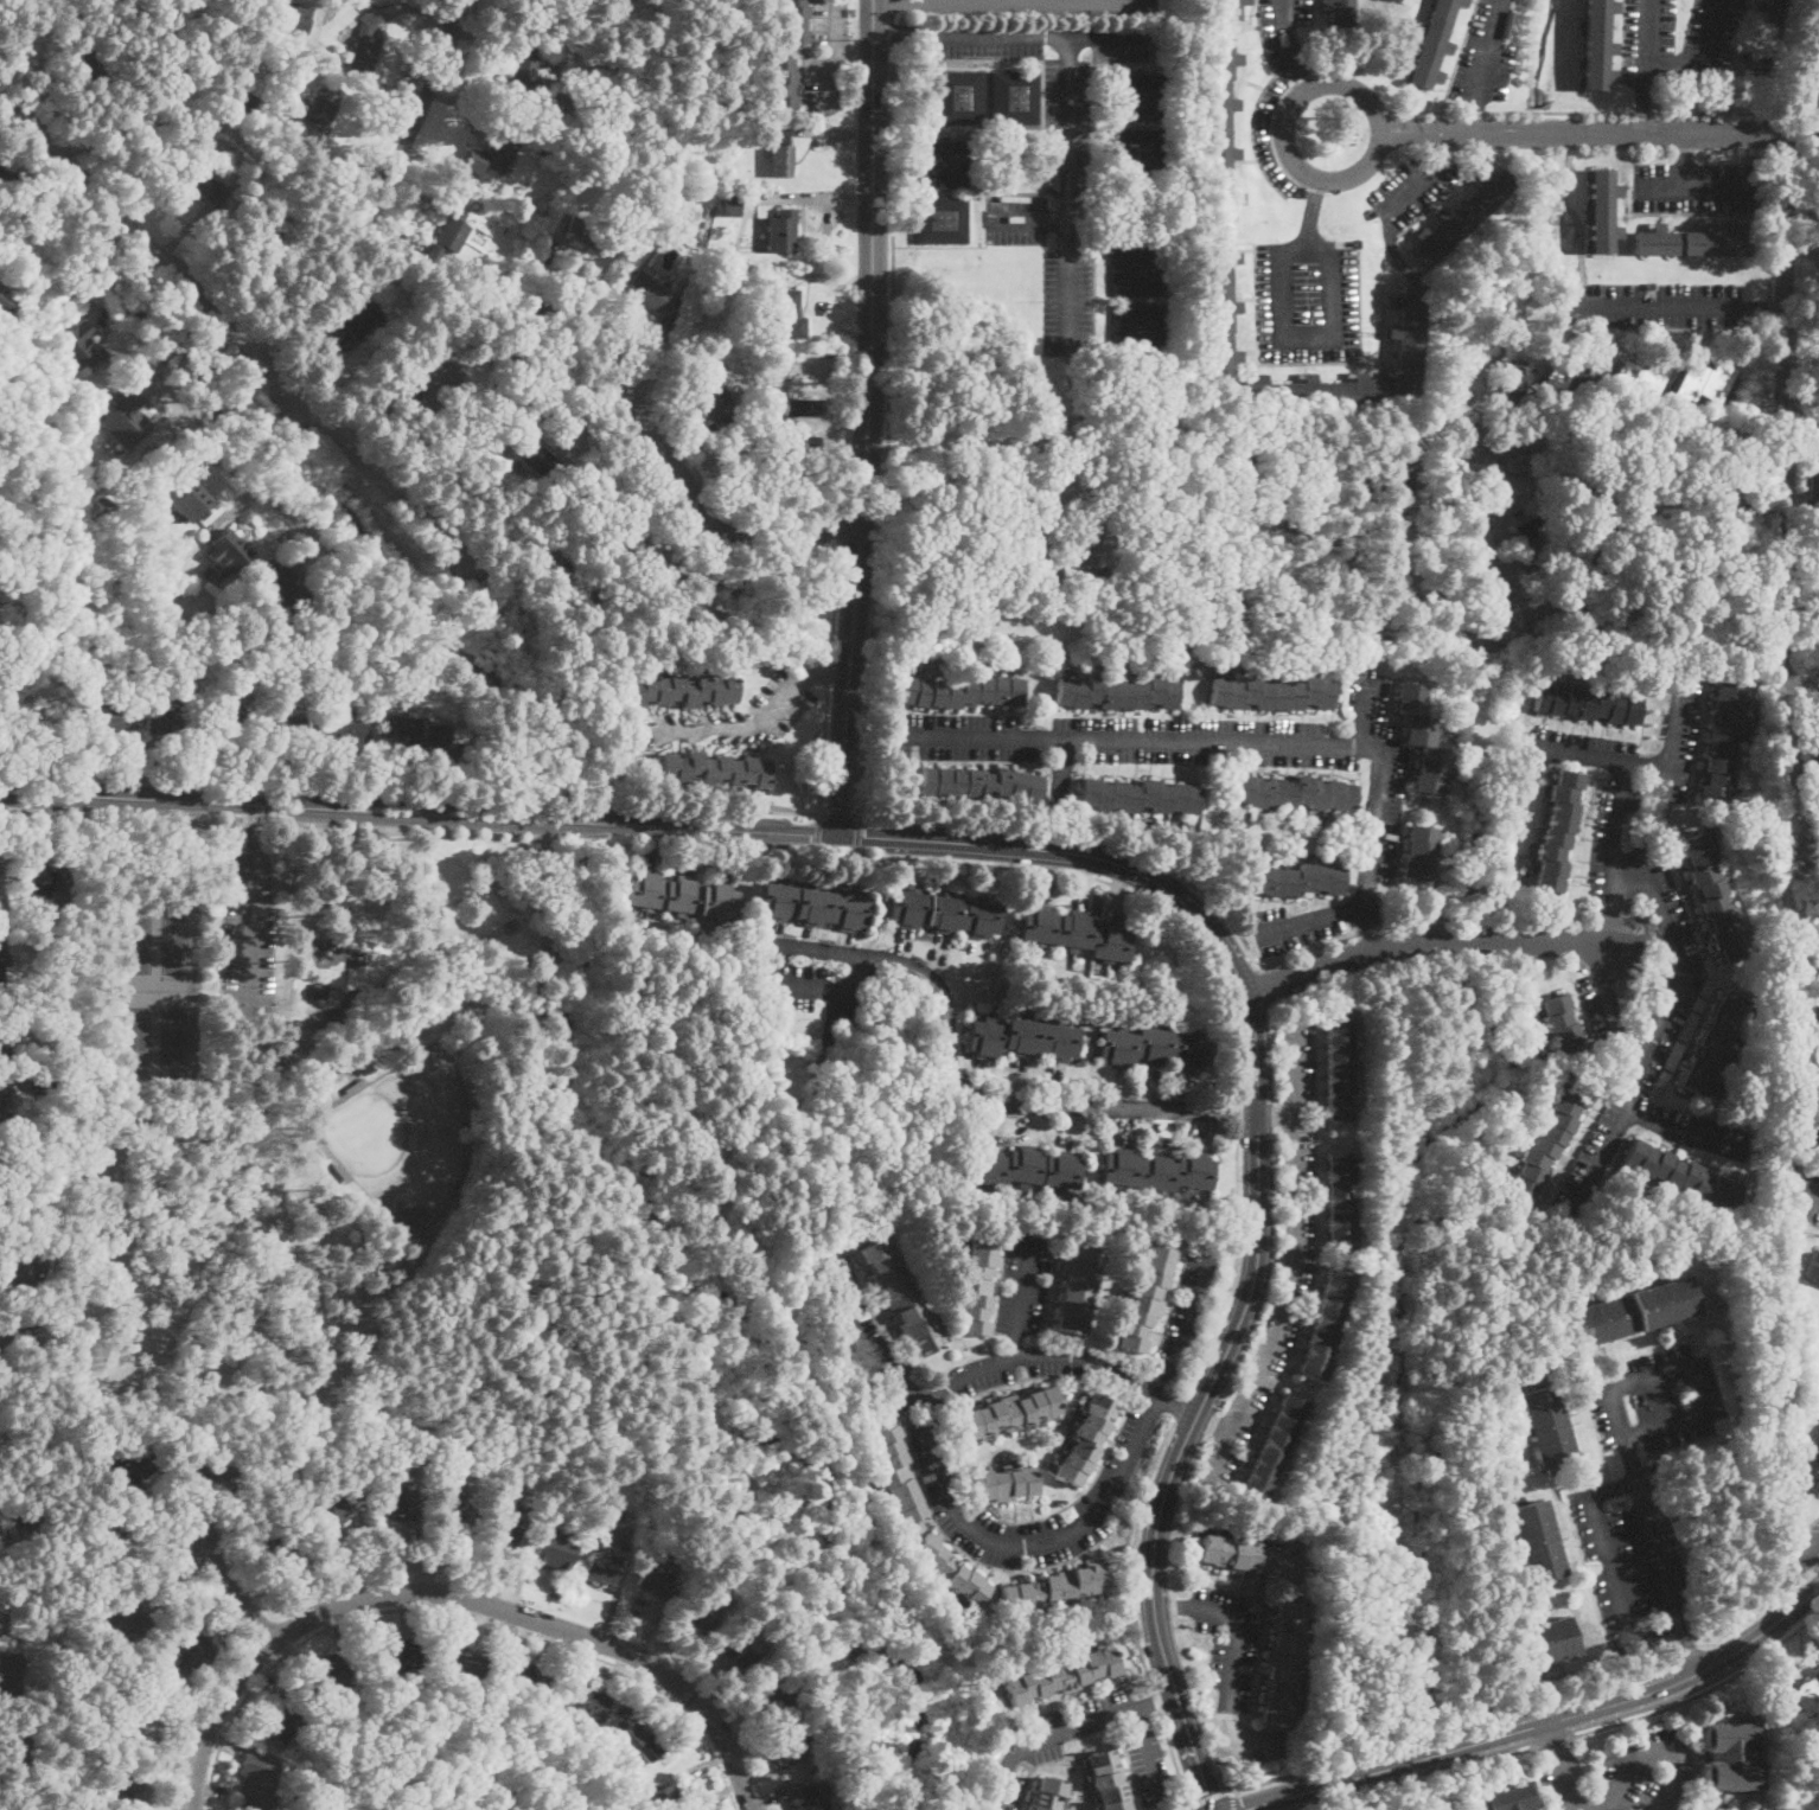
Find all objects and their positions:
road: (895, 0)
road: (1035, 0)
road: (4, 5)
building: (1392, 5)
parking lot: (1036, 6)
road: (893, 7)
building: (1230, 8)
building: (1338, 12)
building: (298, 17)
building: (794, 20)
building: (1507, 23)
parking lot: (1713, 25)
road: (1289, 31)
road: (905, 33)
road: (1649, 33)
road: (1041, 34)
parking lot: (1284, 34)
building: (1768, 39)
building: (1434, 43)
building: (365, 44)
building: (1597, 44)
parking lot: (1485, 55)
road: (1700, 56)
road: (1482, 64)
building: (85, 66)
building: (528, 68)
parking lot: (1055, 70)
road: (1307, 75)
road: (1647, 78)
building: (781, 83)
building: (1812, 92)
building: (1138, 96)
building: (960, 97)
building: (1015, 97)
building: (247, 102)
building: (323, 107)
building: (168, 108)
building: (543, 108)
road: (1646, 111)
road: (1571, 113)
building: (1219, 128)
road: (1598, 133)
parking lot: (1271, 137)
road: (1449, 147)
building: (504, 148)
building: (544, 151)
building: (781, 152)
building: (1138, 152)
building: (200, 153)
road: (324, 155)
road: (1685, 159)
building: (942, 164)
road: (1360, 167)
building: (570, 172)
road: (1694, 183)
building: (202, 184)
parking lot: (1413, 188)
parking lot: (1698, 188)
road: (377, 190)
road: (1070, 193)
building: (1818, 203)
building: (732, 204)
road: (1398, 204)
building: (1121, 209)
building: (1602, 211)
road: (1313, 215)
building: (1462, 217)
building: (942, 219)
road: (1028, 223)
building: (268, 224)
building: (783, 231)
building: (451, 234)
building: (588, 234)
building: (1693, 241)
building: (719, 255)
parking lot: (1052, 258)
building: (1137, 273)
building: (715, 281)
building: (725, 287)
building: (652, 294)
parking lot: (1308, 301)
building: (7, 305)
parking lot: (1649, 306)
building: (1219, 307)
road: (1651, 307)
road: (1766, 309)
building: (789, 314)
building: (355, 325)
building: (440, 326)
building: (1137, 327)
road: (234, 333)
road: (1310, 339)
building: (1406, 340)
building: (82, 347)
building: (1514, 380)
building: (1569, 380)
building: (1638, 380)
building: (1705, 380)
building: (436, 385)
building: (1309, 392)
road: (619, 394)
building: (716, 399)
road: (1785, 402)
road: (275, 403)
road: (186, 417)
road: (867, 417)
building: (126, 418)
building: (793, 418)
road: (889, 418)
road: (1801, 418)
road: (248, 437)
building: (739, 449)
road: (1091, 453)
road: (228, 455)
building: (537, 458)
building: (1813, 477)
building: (619, 487)
building: (187, 499)
building: (1808, 504)
building: (107, 505)
road: (280, 506)
building: (1033, 546)
building: (229, 550)
building: (659, 556)
building: (128, 582)
building: (570, 586)
building: (141, 591)
building: (267, 591)
building: (286, 593)
building: (957, 603)
building: (26, 605)
building: (1533, 609)
building: (702, 613)
road: (1578, 640)
building: (985, 670)
building: (1164, 671)
building: (333, 677)
road: (822, 677)
road: (828, 678)
road: (1801, 678)
building: (683, 689)
building: (962, 691)
building: (1117, 693)
building: (1271, 693)
building: (1747, 702)
building: (1588, 704)
parking lot: (734, 716)
building: (230, 717)
building: (104, 719)
building: (167, 721)
building: (268, 725)
building: (288, 725)
building: (417, 729)
building: (344, 731)
road: (730, 731)
building: (1745, 731)
building: (1421, 737)
parking lot: (1128, 738)
road: (1134, 738)
building: (1722, 742)
road: (1600, 759)
building: (1738, 760)
building: (1812, 765)
building: (716, 769)
road: (1670, 780)
building: (979, 784)
building: (1737, 791)
road: (413, 792)
building: (1296, 792)
road: (1057, 793)
building: (1138, 795)
road: (1378, 805)
parking lot: (1383, 805)
road: (419, 812)
road: (841, 813)
road: (946, 821)
road: (248, 825)
road: (1054, 830)
building: (1559, 830)
road: (818, 831)
road: (859, 833)
road: (863, 837)
building: (1192, 839)
road: (693, 849)
road: (817, 849)
building: (1811, 849)
road: (857, 850)
road: (1615, 852)
building: (1418, 856)
parking lot: (1627, 857)
building: (1, 872)
road: (1181, 875)
building: (1300, 880)
building: (44, 884)
building: (1, 893)
building: (684, 896)
building: (1715, 897)
building: (815, 906)
building: (946, 913)
road: (1314, 917)
road: (1499, 919)
road: (247, 923)
parking lot: (247, 926)
road: (1374, 930)
building: (1076, 933)
road: (1423, 934)
park: (136, 946)
park: (177, 946)
road: (1310, 951)
building: (1, 964)
road: (292, 981)
road: (344, 985)
road: (821, 989)
building: (319, 991)
parking lot: (813, 992)
road: (259, 1002)
road: (1614, 1006)
road: (835, 1017)
building: (1563, 1025)
park: (134, 1035)
park: (177, 1035)
road: (1653, 1035)
building: (0, 1037)
building: (1023, 1038)
building: (1715, 1042)
road: (306, 1048)
building: (1155, 1048)
building: (268, 1053)
building: (285, 1056)
building: (1335, 1066)
building: (40, 1082)
building: (353, 1086)
road: (962, 1086)
building: (2, 1096)
parking lot: (1633, 1106)
road: (1278, 1112)
road: (1238, 1114)
building: (314, 1121)
road: (1689, 1131)
park: (409, 1139)
building: (1550, 1140)
road: (1258, 1144)
building: (1818, 1144)
building: (0, 1156)
park: (403, 1158)
building: (1025, 1169)
building: (1157, 1169)
road: (1792, 1169)
building: (342, 1172)
building: (1684, 1175)
parking lot: (1807, 1196)
building: (1338, 1200)
road: (1296, 1262)
parking lot: (1298, 1262)
building: (23, 1266)
road: (1234, 1268)
building: (1814, 1268)
building: (977, 1286)
parking lot: (1023, 1287)
building: (1078, 1288)
building: (902, 1298)
road: (1021, 1298)
building: (1147, 1298)
parking lot: (1188, 1304)
building: (1633, 1312)
building: (1323, 1322)
road: (1189, 1324)
building: (4, 1335)
parking lot: (870, 1336)
road: (1066, 1354)
parking lot: (1033, 1364)
road: (1176, 1407)
building: (1010, 1412)
road: (1213, 1424)
building: (1547, 1427)
road: (1623, 1430)
building: (1087, 1439)
building: (1270, 1450)
building: (130, 1465)
building: (894, 1467)
building: (209, 1472)
building: (1811, 1473)
building: (1007, 1482)
parking lot: (1640, 1491)
parking lot: (1103, 1492)
building: (398, 1498)
building: (454, 1502)
building: (333, 1508)
road: (953, 1511)
building: (1, 1521)
building: (504, 1523)
building: (1, 1533)
building: (115, 1542)
building: (1538, 1542)
building: (553, 1548)
parking lot: (1808, 1548)
road: (1132, 1552)
building: (1250, 1556)
road: (1806, 1562)
road: (1611, 1566)
building: (601, 1567)
building: (951, 1571)
building: (655, 1578)
building: (1057, 1587)
road: (236, 1592)
road: (458, 1595)
road: (1763, 1606)
road: (458, 1613)
building: (701, 1614)
building: (127, 1617)
road: (1240, 1617)
building: (1, 1618)
road: (1762, 1632)
building: (1543, 1642)
building: (190, 1646)
building: (739, 1646)
parking lot: (1233, 1651)
building: (395, 1652)
road: (1690, 1652)
building: (461, 1662)
building: (1282, 1662)
building: (57, 1665)
building: (1818, 1671)
building: (331, 1675)
building: (1061, 1675)
building: (522, 1676)
building: (11, 1678)
road: (1702, 1690)
building: (773, 1694)
building: (1806, 1696)
road: (1157, 1700)
building: (583, 1702)
road: (1156, 1702)
building: (286, 1720)
road: (1091, 1721)
building: (130, 1723)
building: (264, 1725)
road: (1445, 1729)
road: (1524, 1729)
road: (1552, 1740)
building: (18, 1741)
building: (323, 1741)
building: (640, 1741)
building: (791, 1746)
parking lot: (1034, 1748)
road: (1195, 1751)
road: (1648, 1754)
building: (1730, 1755)
road: (1174, 1757)
parking lot: (1645, 1771)
building: (270, 1772)
road: (1558, 1773)
road: (1425, 1778)
building: (1109, 1780)
building: (254, 1782)
parking lot: (1564, 1782)
building: (129, 1791)
building: (1048, 1793)
building: (812, 1795)
road: (1207, 1795)
road: (1296, 1795)
building: (1507, 1797)
building: (269, 1799)
building: (665, 1799)
road: (1233, 1801)
road: (1187, 1806)
building: (13, 1808)
road: (1260, 1808)
road: (1187, 1809)
building: (1697, 1809)

